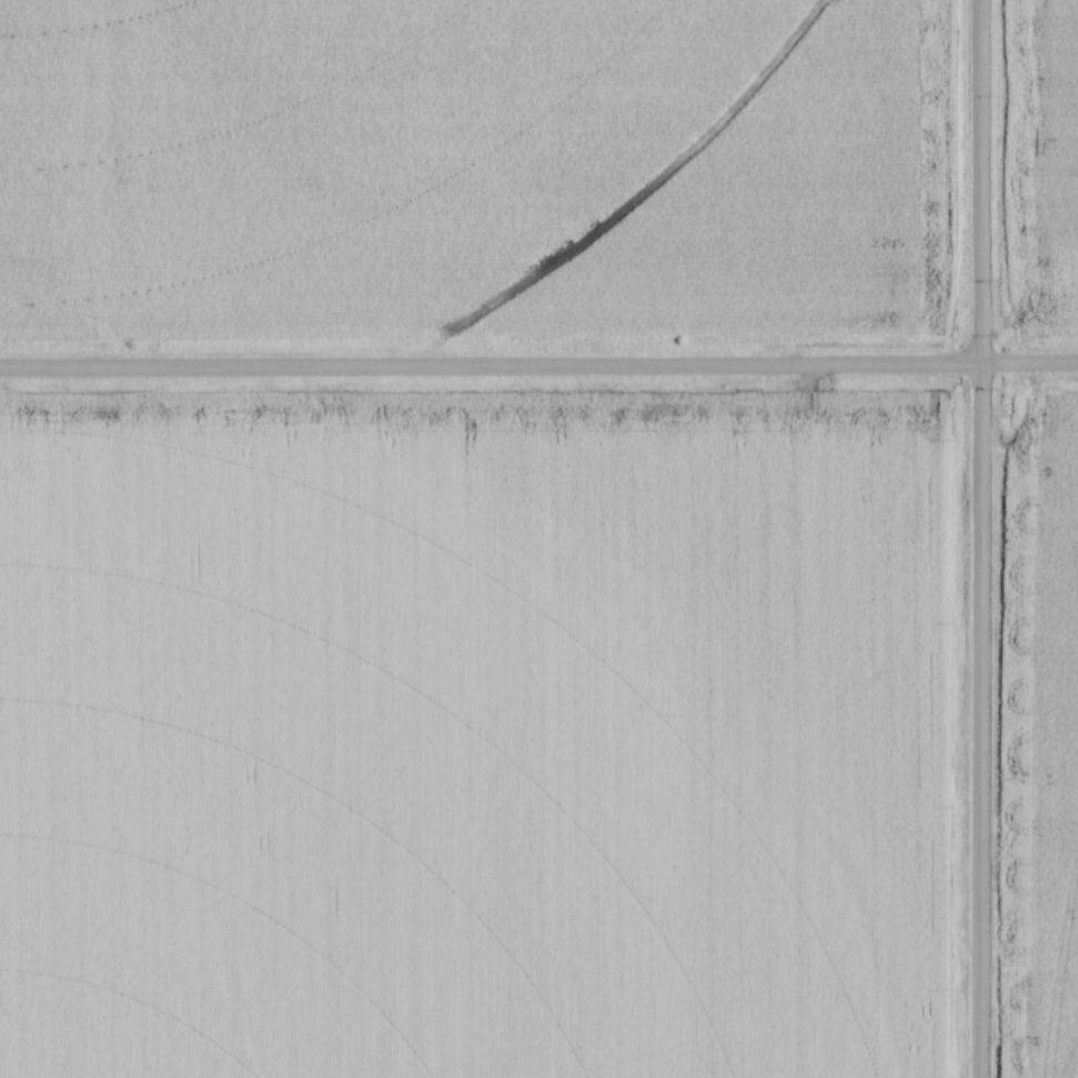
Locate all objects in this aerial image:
road: (538, 366)
road: (980, 538)

